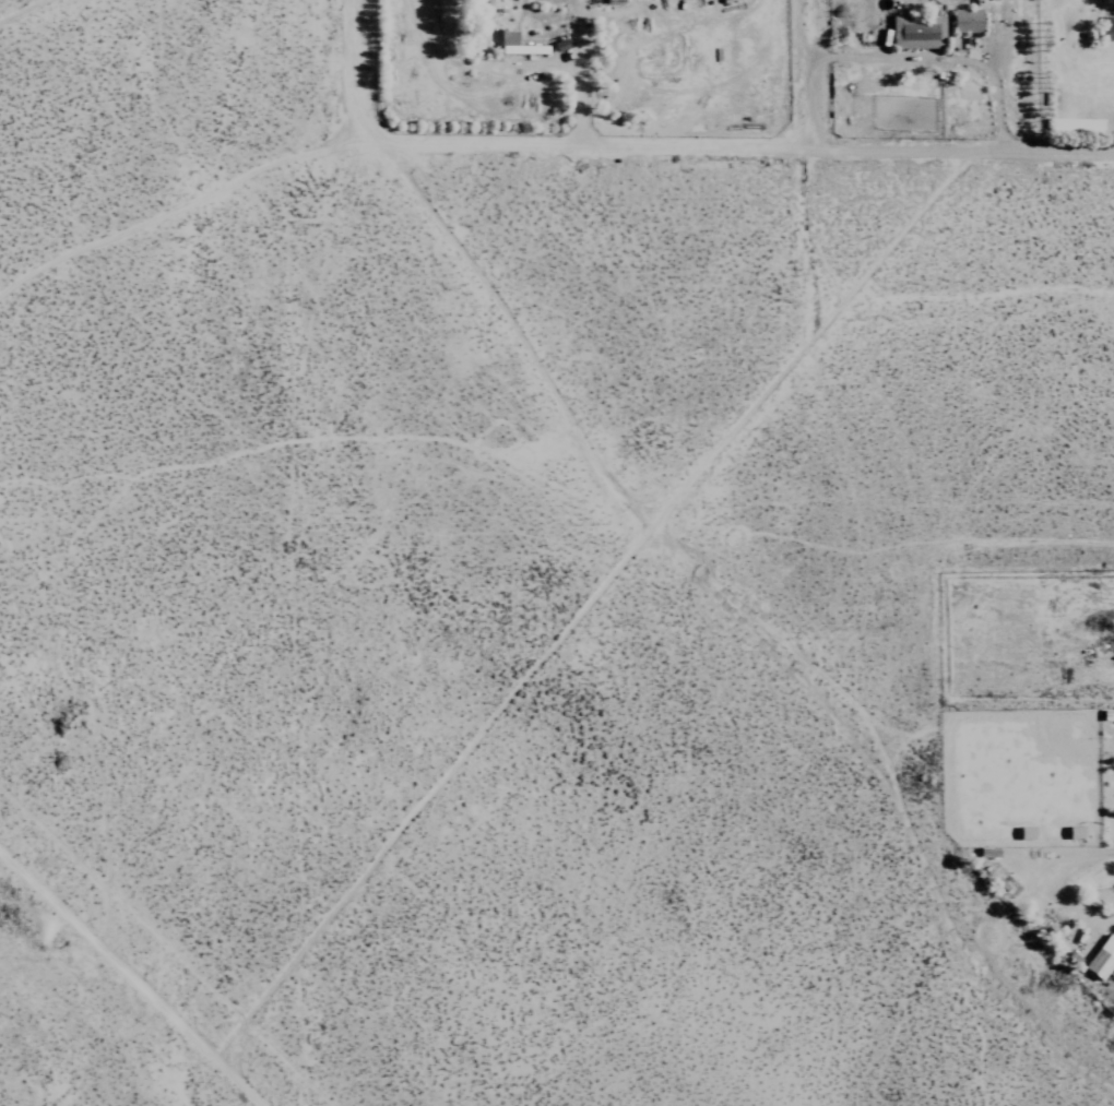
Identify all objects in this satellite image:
road: (21, 10)
road: (941, 59)
road: (356, 71)
road: (578, 72)
road: (813, 75)
road: (735, 148)
road: (176, 210)
building: (1071, 832)
building: (1022, 833)
building: (1100, 959)
road: (128, 982)

